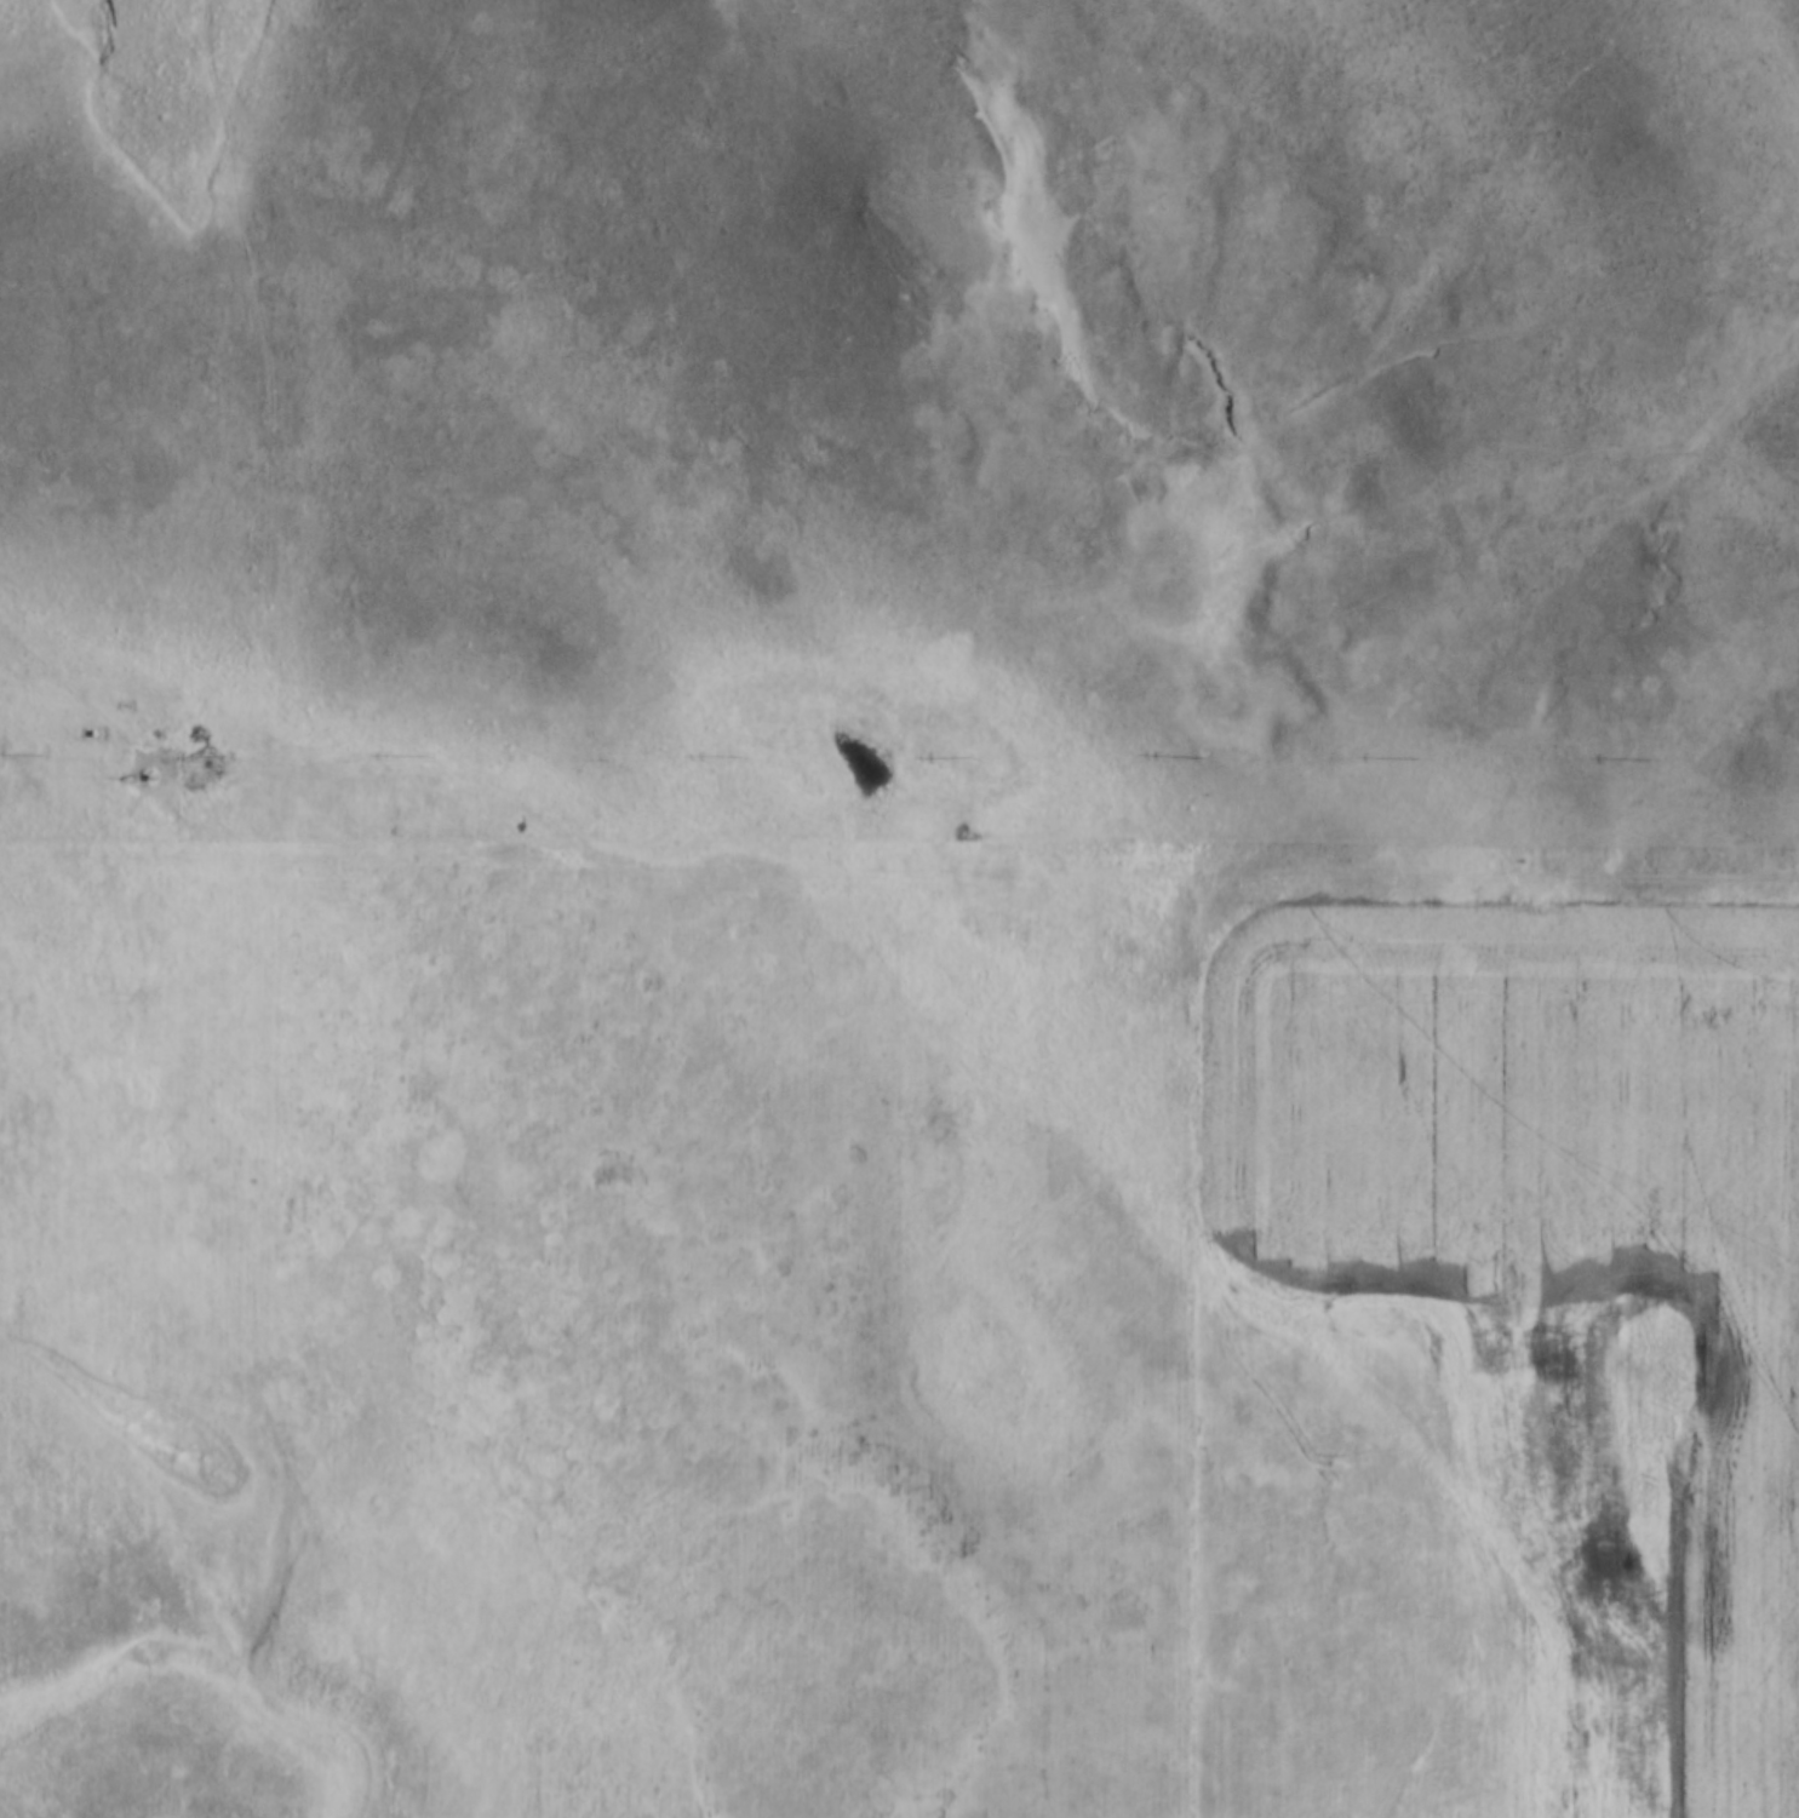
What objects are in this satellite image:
road: (899, 866)

